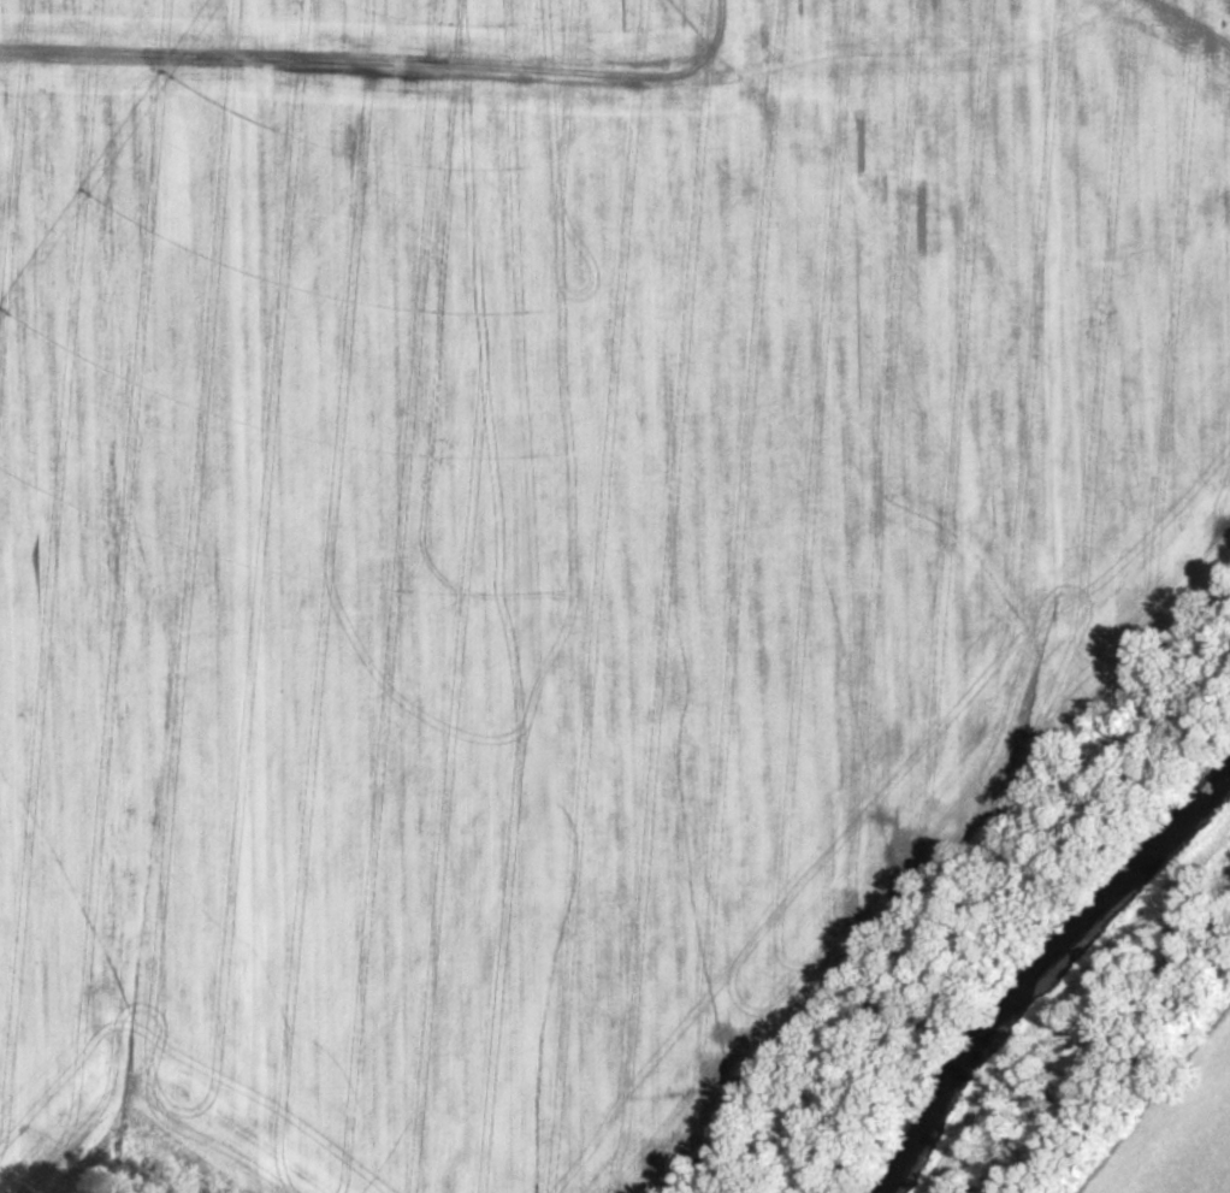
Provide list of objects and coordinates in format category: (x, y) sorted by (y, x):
road: (391, 61)

